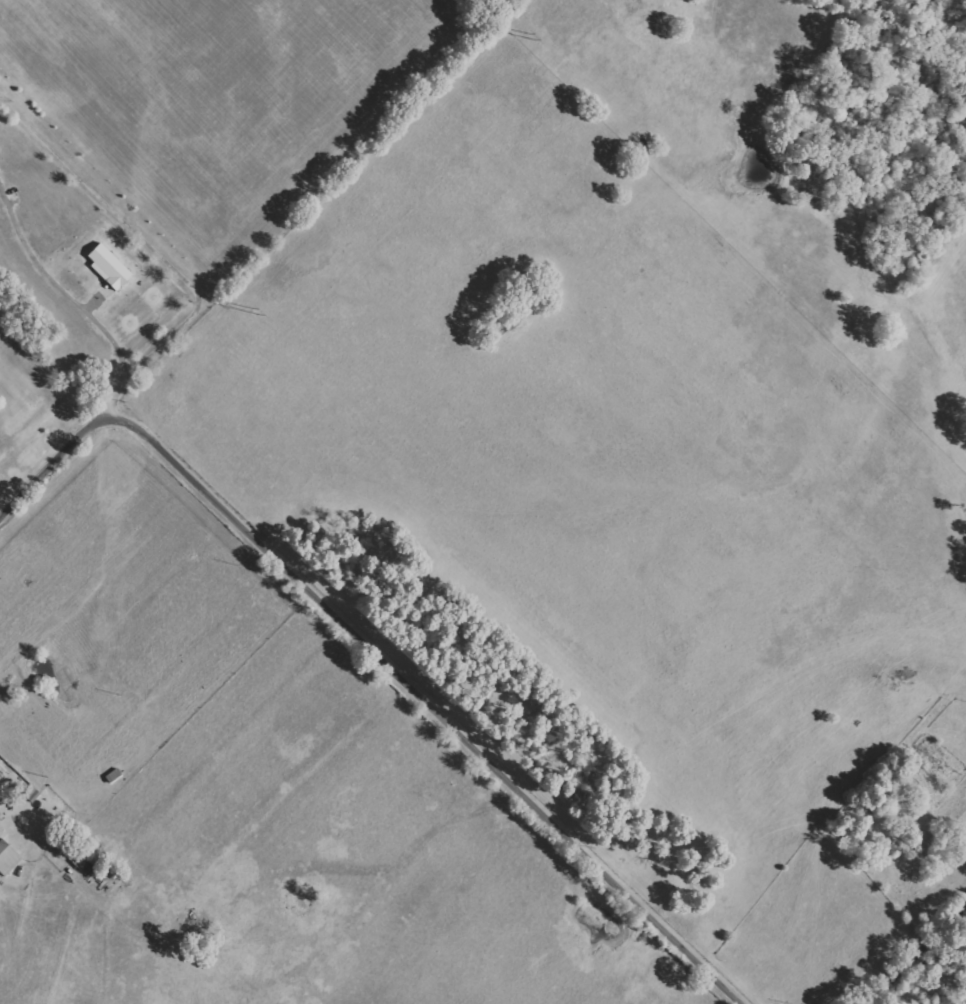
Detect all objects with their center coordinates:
road: (101, 194)
building: (109, 267)
road: (57, 285)
road: (147, 352)
road: (378, 655)
building: (8, 858)
road: (918, 956)

